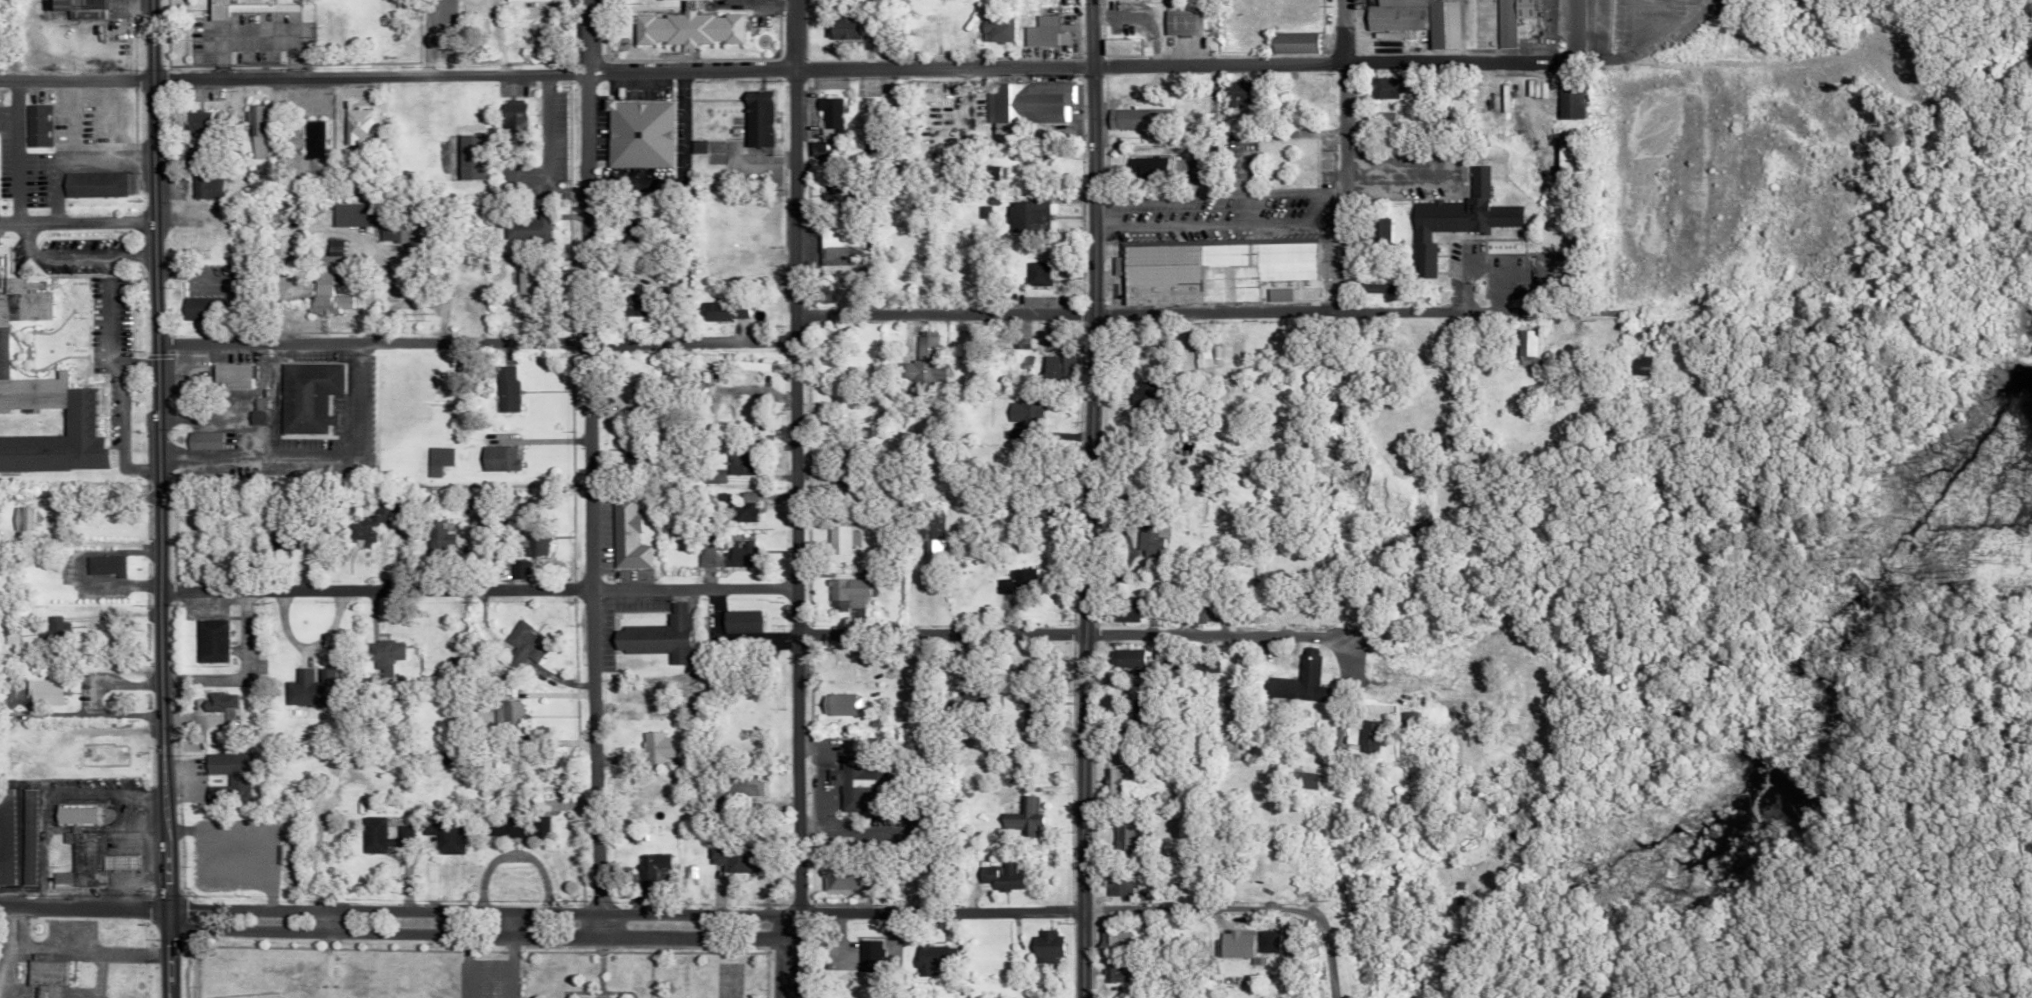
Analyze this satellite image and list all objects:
building: (511, 0)
building: (1169, 0)
building: (246, 7)
building: (78, 8)
building: (1509, 20)
building: (1182, 22)
building: (1441, 25)
building: (687, 27)
building: (841, 27)
building: (997, 30)
road: (1573, 30)
building: (1044, 32)
road: (253, 37)
building: (1292, 42)
building: (1120, 46)
road: (1630, 50)
road: (783, 69)
building: (1387, 87)
building: (1233, 95)
building: (1567, 101)
building: (1026, 104)
road: (7, 109)
building: (513, 117)
building: (830, 117)
building: (1384, 117)
building: (758, 118)
building: (1137, 119)
building: (195, 123)
building: (35, 125)
building: (358, 126)
road: (1205, 129)
building: (257, 131)
building: (639, 134)
building: (315, 139)
building: (698, 147)
building: (817, 148)
road: (14, 151)
road: (1340, 155)
building: (469, 157)
building: (1563, 160)
building: (1145, 165)
building: (93, 184)
building: (207, 187)
road: (1201, 194)
road: (1327, 194)
road: (1312, 206)
building: (1455, 214)
building: (1028, 217)
building: (370, 220)
road: (75, 221)
road: (1199, 222)
building: (527, 227)
building: (1379, 230)
building: (630, 235)
building: (839, 245)
building: (333, 255)
building: (1220, 265)
building: (1037, 272)
road: (226, 277)
building: (1380, 285)
building: (1277, 294)
building: (326, 295)
building: (634, 305)
building: (196, 308)
building: (723, 311)
road: (1249, 311)
building: (1021, 341)
road: (474, 342)
building: (1525, 347)
building: (1377, 356)
building: (923, 363)
building: (1643, 364)
building: (1057, 365)
building: (747, 366)
building: (231, 375)
building: (505, 390)
building: (1142, 394)
building: (307, 396)
building: (43, 398)
road: (355, 398)
building: (1025, 414)
road: (78, 423)
building: (1446, 438)
building: (202, 440)
building: (924, 447)
road: (254, 457)
road: (589, 457)
building: (498, 458)
building: (437, 460)
building: (741, 463)
building: (716, 476)
road: (1085, 498)
road: (156, 499)
road: (797, 499)
building: (745, 508)
building: (22, 519)
building: (369, 526)
building: (627, 536)
building: (1152, 536)
building: (440, 538)
building: (841, 540)
building: (932, 540)
building: (533, 543)
building: (741, 547)
building: (104, 565)
road: (79, 567)
building: (1018, 584)
road: (478, 589)
building: (845, 593)
building: (1127, 609)
building: (740, 621)
building: (55, 630)
road: (1030, 633)
building: (10, 634)
building: (658, 637)
road: (735, 637)
building: (211, 641)
road: (1337, 654)
building: (386, 657)
building: (1126, 658)
building: (1204, 664)
road: (243, 674)
building: (1288, 680)
building: (310, 689)
building: (44, 693)
building: (654, 699)
road: (92, 700)
building: (839, 705)
building: (221, 706)
building: (1408, 723)
building: (1369, 736)
building: (654, 748)
building: (101, 755)
building: (226, 780)
building: (1111, 780)
building: (1304, 780)
building: (855, 784)
building: (743, 789)
road: (45, 792)
building: (1022, 818)
building: (260, 823)
building: (514, 826)
road: (133, 828)
road: (148, 830)
building: (442, 832)
building: (1128, 835)
building: (381, 836)
building: (5, 837)
building: (26, 837)
building: (84, 851)
building: (279, 855)
building: (730, 859)
building: (646, 872)
building: (686, 872)
road: (130, 874)
building: (999, 877)
building: (1116, 882)
road: (81, 905)
road: (479, 913)
road: (1035, 913)
road: (593, 927)
road: (479, 936)
road: (1322, 938)
building: (1111, 940)
building: (1290, 940)
building: (1266, 941)
building: (1233, 944)
building: (1044, 947)
road: (5, 950)
road: (84, 950)
road: (507, 955)
building: (866, 956)
building: (930, 959)
building: (1117, 972)
road: (98, 974)
building: (42, 975)

